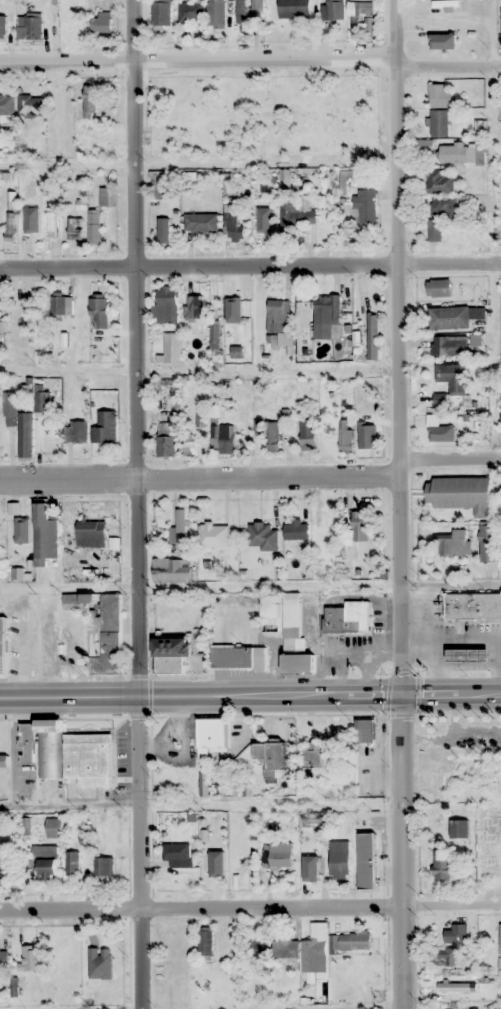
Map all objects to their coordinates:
building: (435, 6)
building: (294, 9)
building: (333, 10)
building: (256, 11)
building: (191, 12)
building: (217, 14)
building: (161, 15)
building: (363, 18)
building: (100, 24)
building: (2, 26)
building: (29, 27)
building: (436, 43)
road: (198, 63)
road: (448, 68)
building: (440, 96)
building: (90, 101)
building: (7, 105)
building: (30, 105)
park: (265, 114)
building: (439, 123)
building: (94, 136)
building: (424, 145)
building: (462, 153)
building: (439, 182)
building: (160, 184)
building: (107, 196)
building: (364, 206)
building: (443, 207)
building: (297, 214)
building: (52, 221)
building: (200, 223)
building: (231, 225)
building: (94, 226)
building: (31, 227)
building: (258, 227)
building: (74, 228)
building: (434, 230)
building: (163, 231)
road: (250, 268)
building: (438, 288)
building: (168, 302)
building: (231, 305)
building: (61, 306)
building: (193, 307)
building: (327, 310)
building: (99, 311)
building: (1, 313)
building: (278, 315)
building: (454, 317)
building: (24, 319)
building: (214, 337)
building: (372, 338)
building: (449, 345)
road: (139, 347)
road: (399, 347)
building: (169, 349)
building: (450, 382)
building: (42, 402)
building: (9, 409)
building: (105, 428)
building: (308, 429)
building: (439, 430)
building: (76, 432)
building: (26, 435)
building: (345, 435)
building: (274, 436)
building: (367, 436)
building: (224, 438)
building: (166, 440)
building: (189, 451)
road: (450, 457)
road: (199, 482)
building: (460, 494)
building: (20, 524)
building: (360, 526)
building: (181, 529)
building: (296, 530)
building: (91, 533)
building: (44, 536)
building: (213, 536)
building: (262, 537)
building: (487, 543)
building: (451, 544)
building: (171, 570)
building: (472, 606)
building: (270, 618)
building: (347, 618)
building: (105, 633)
building: (294, 638)
building: (3, 645)
building: (176, 653)
building: (468, 655)
building: (238, 658)
road: (250, 695)
traffic signals: (403, 695)
building: (365, 730)
building: (212, 733)
building: (42, 746)
building: (270, 757)
building: (314, 757)
building: (89, 758)
building: (3, 761)
building: (313, 818)
building: (53, 827)
building: (458, 828)
road: (138, 852)
road: (403, 852)
building: (280, 854)
building: (178, 855)
building: (311, 857)
building: (219, 858)
building: (338, 859)
building: (44, 861)
building: (365, 861)
building: (72, 863)
building: (442, 865)
building: (104, 867)
building: (7, 868)
road: (250, 907)
building: (456, 933)
building: (500, 940)
building: (354, 941)
building: (206, 942)
building: (256, 947)
building: (285, 948)
building: (315, 950)
building: (444, 957)
building: (30, 958)
building: (4, 959)
building: (99, 963)
building: (357, 967)
building: (172, 972)
building: (445, 984)

